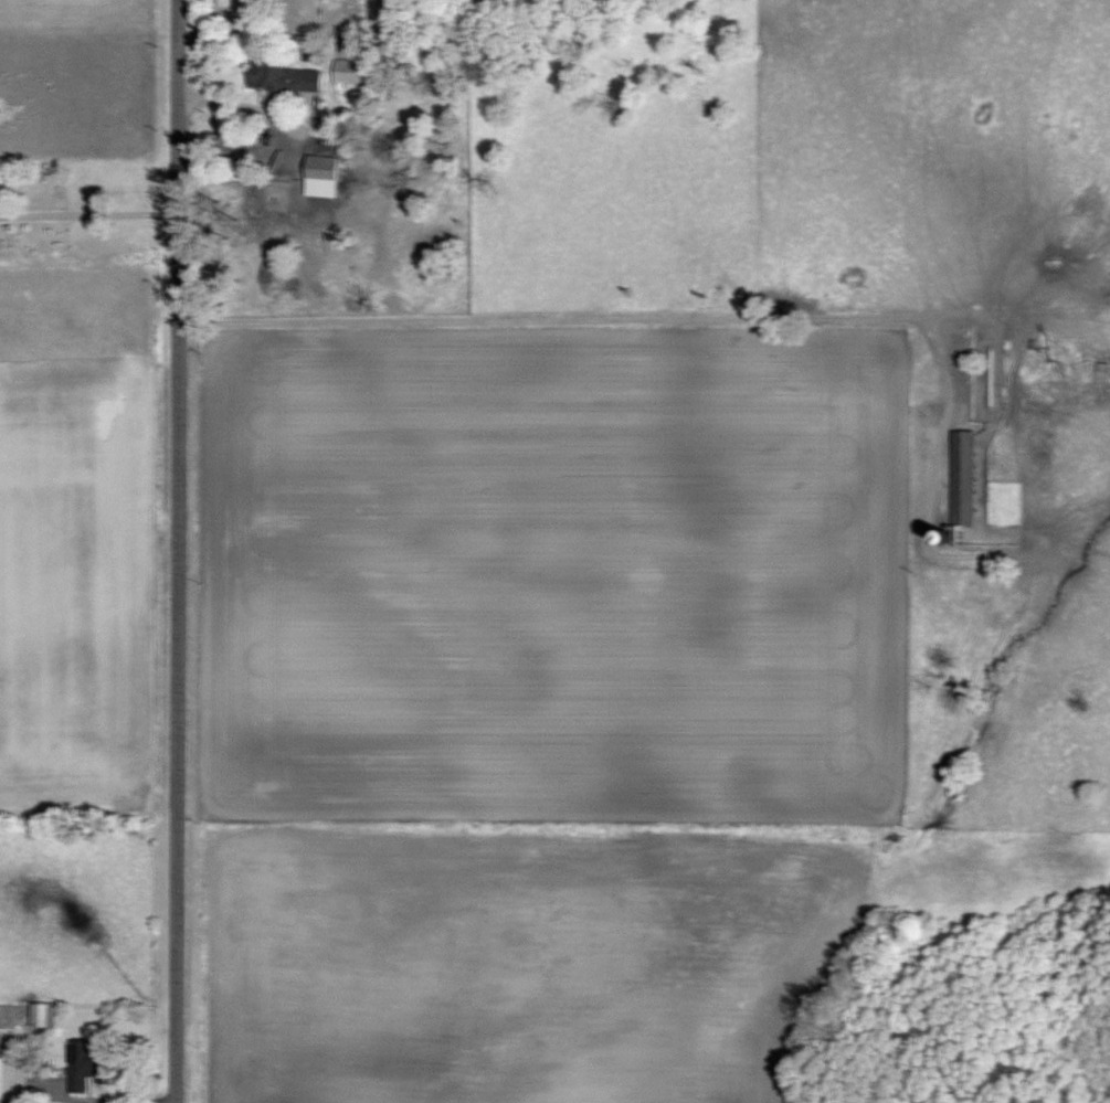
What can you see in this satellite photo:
building: (347, 71)
building: (281, 77)
building: (316, 169)
road: (87, 206)
road: (466, 319)
building: (958, 477)
road: (173, 551)
building: (38, 1015)
building: (12, 1042)
building: (80, 1062)

